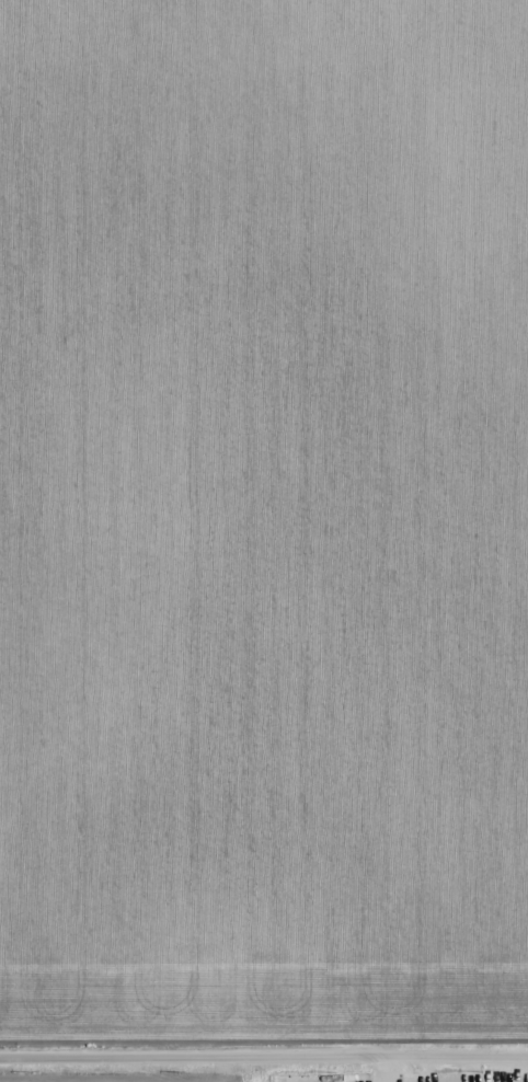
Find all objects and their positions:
road: (264, 1060)

